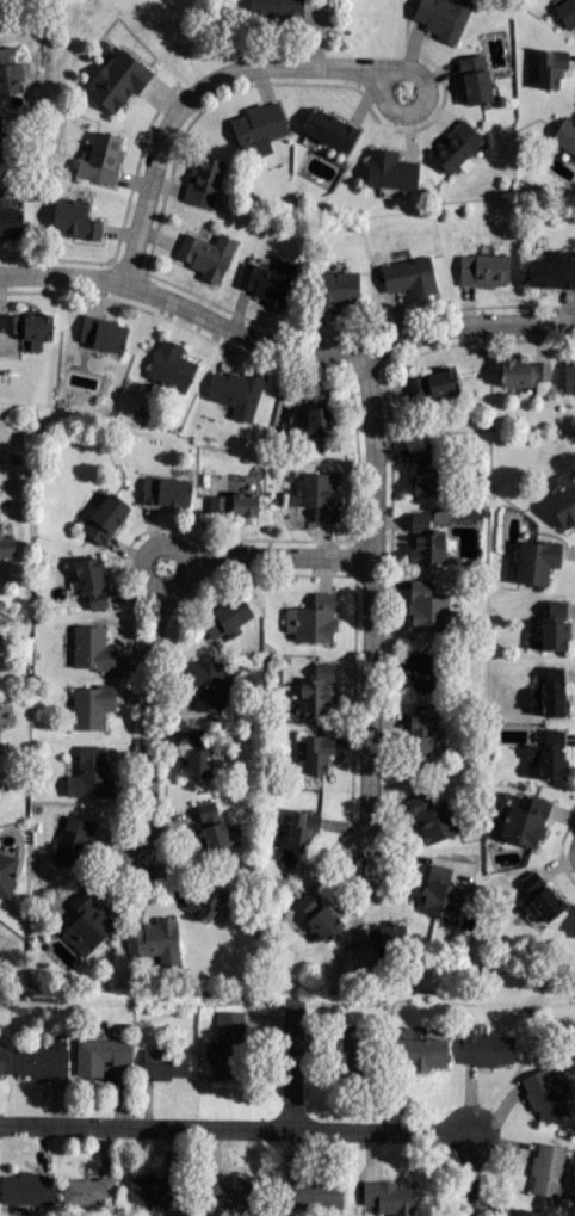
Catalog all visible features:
road: (412, 111)
road: (147, 191)
road: (60, 276)
road: (447, 331)
road: (147, 548)
road: (372, 610)
road: (160, 619)
road: (292, 1072)
road: (484, 1121)
road: (231, 1127)
road: (469, 1175)

